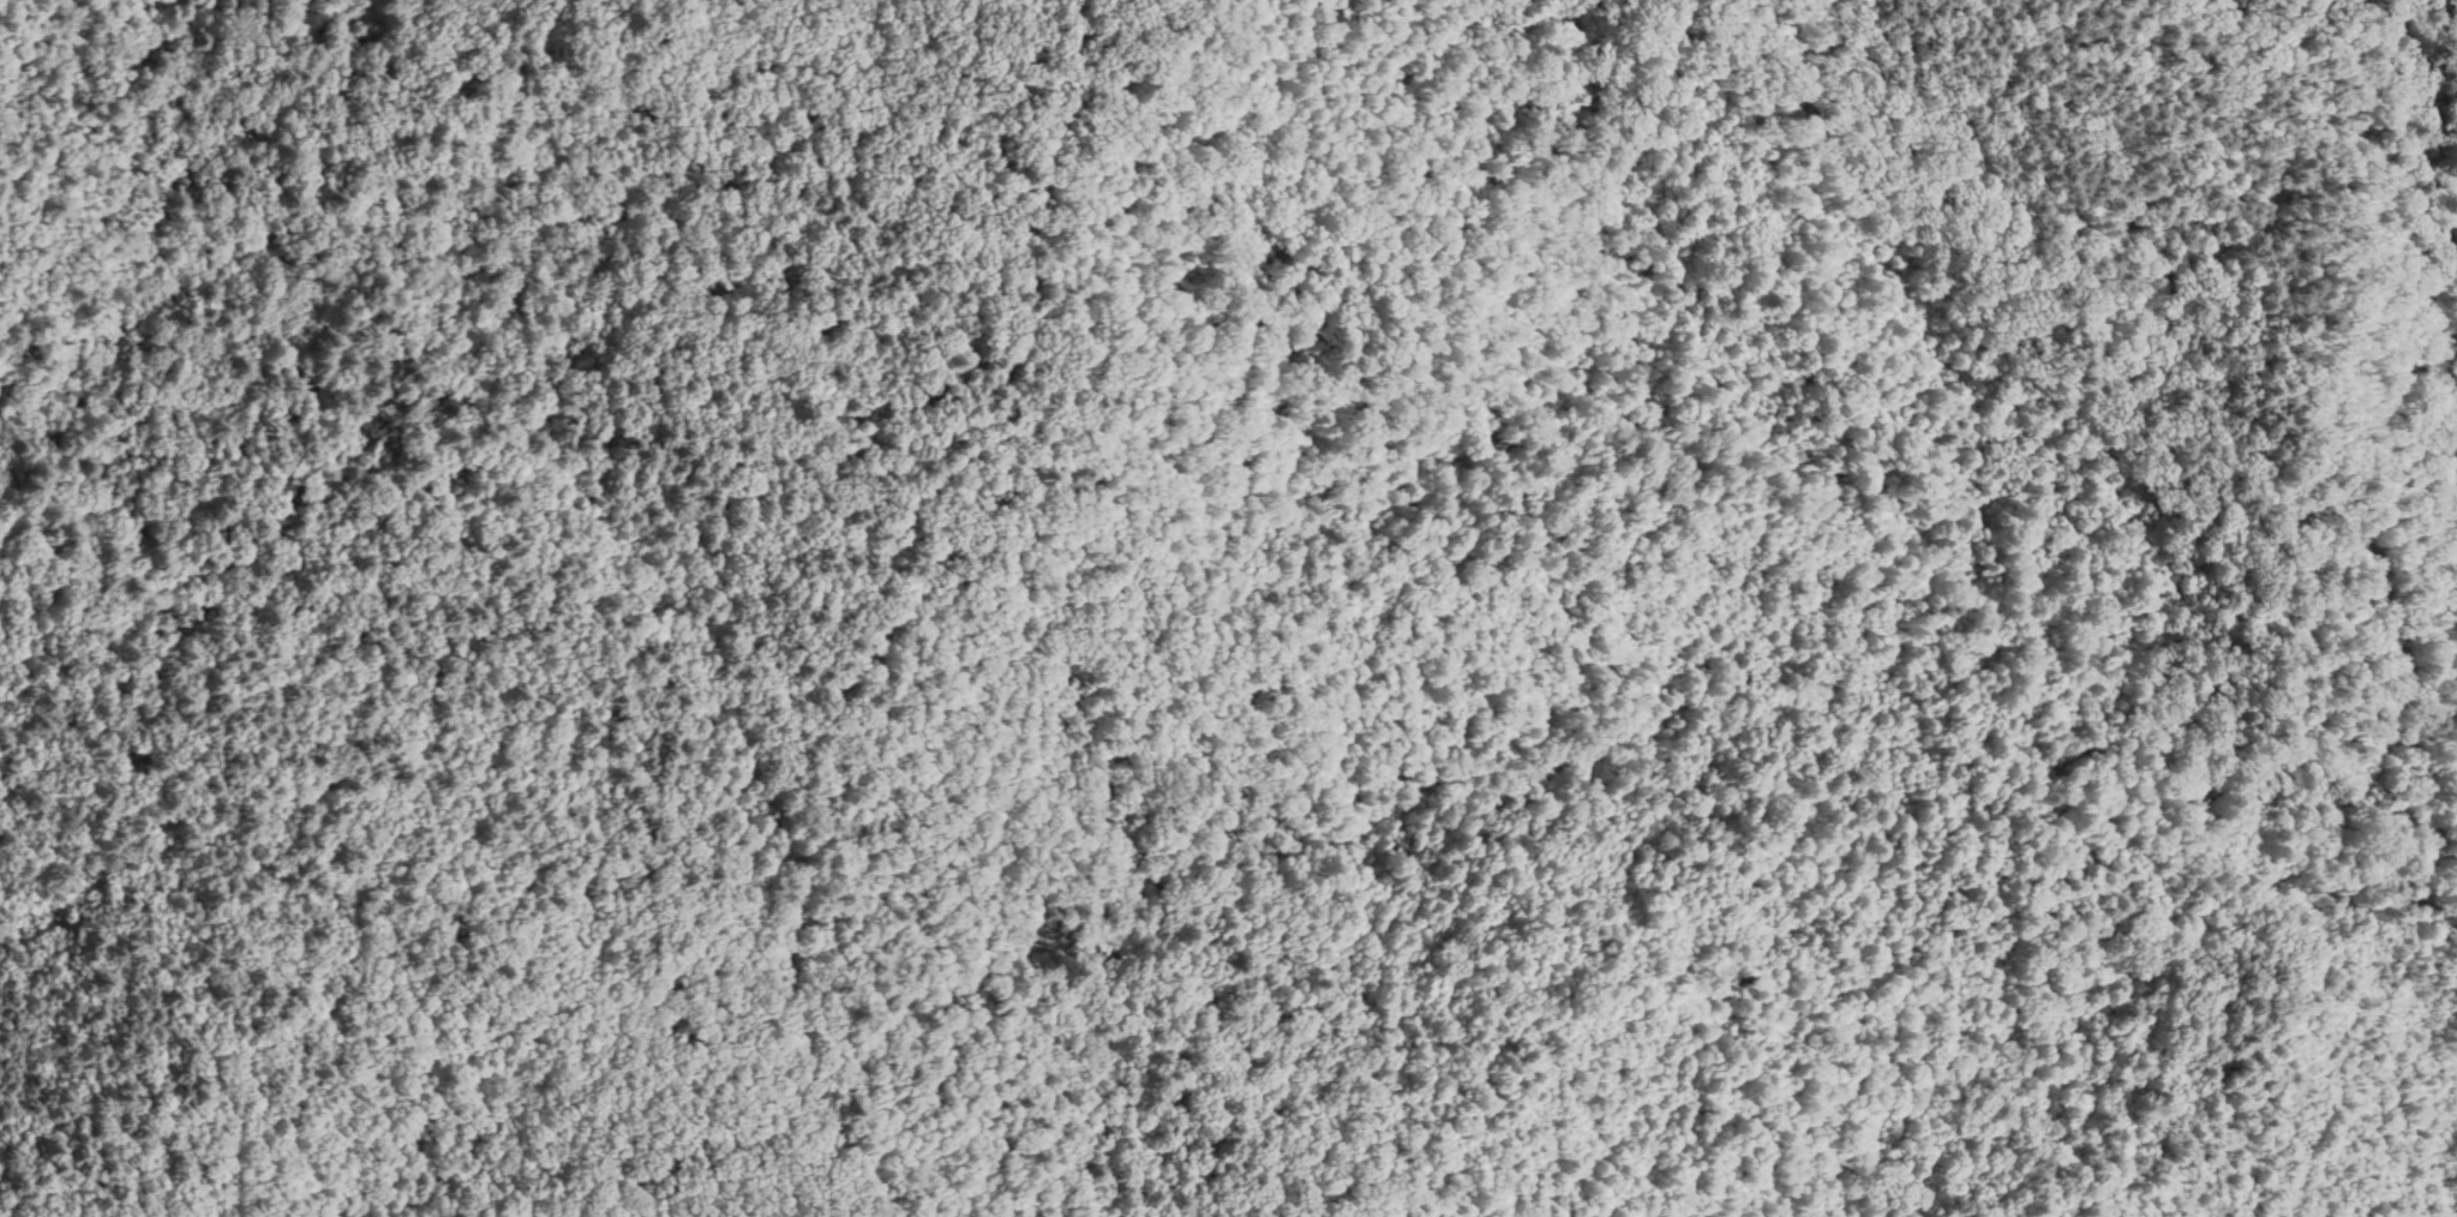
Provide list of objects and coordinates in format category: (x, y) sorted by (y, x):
road: (2281, 882)

